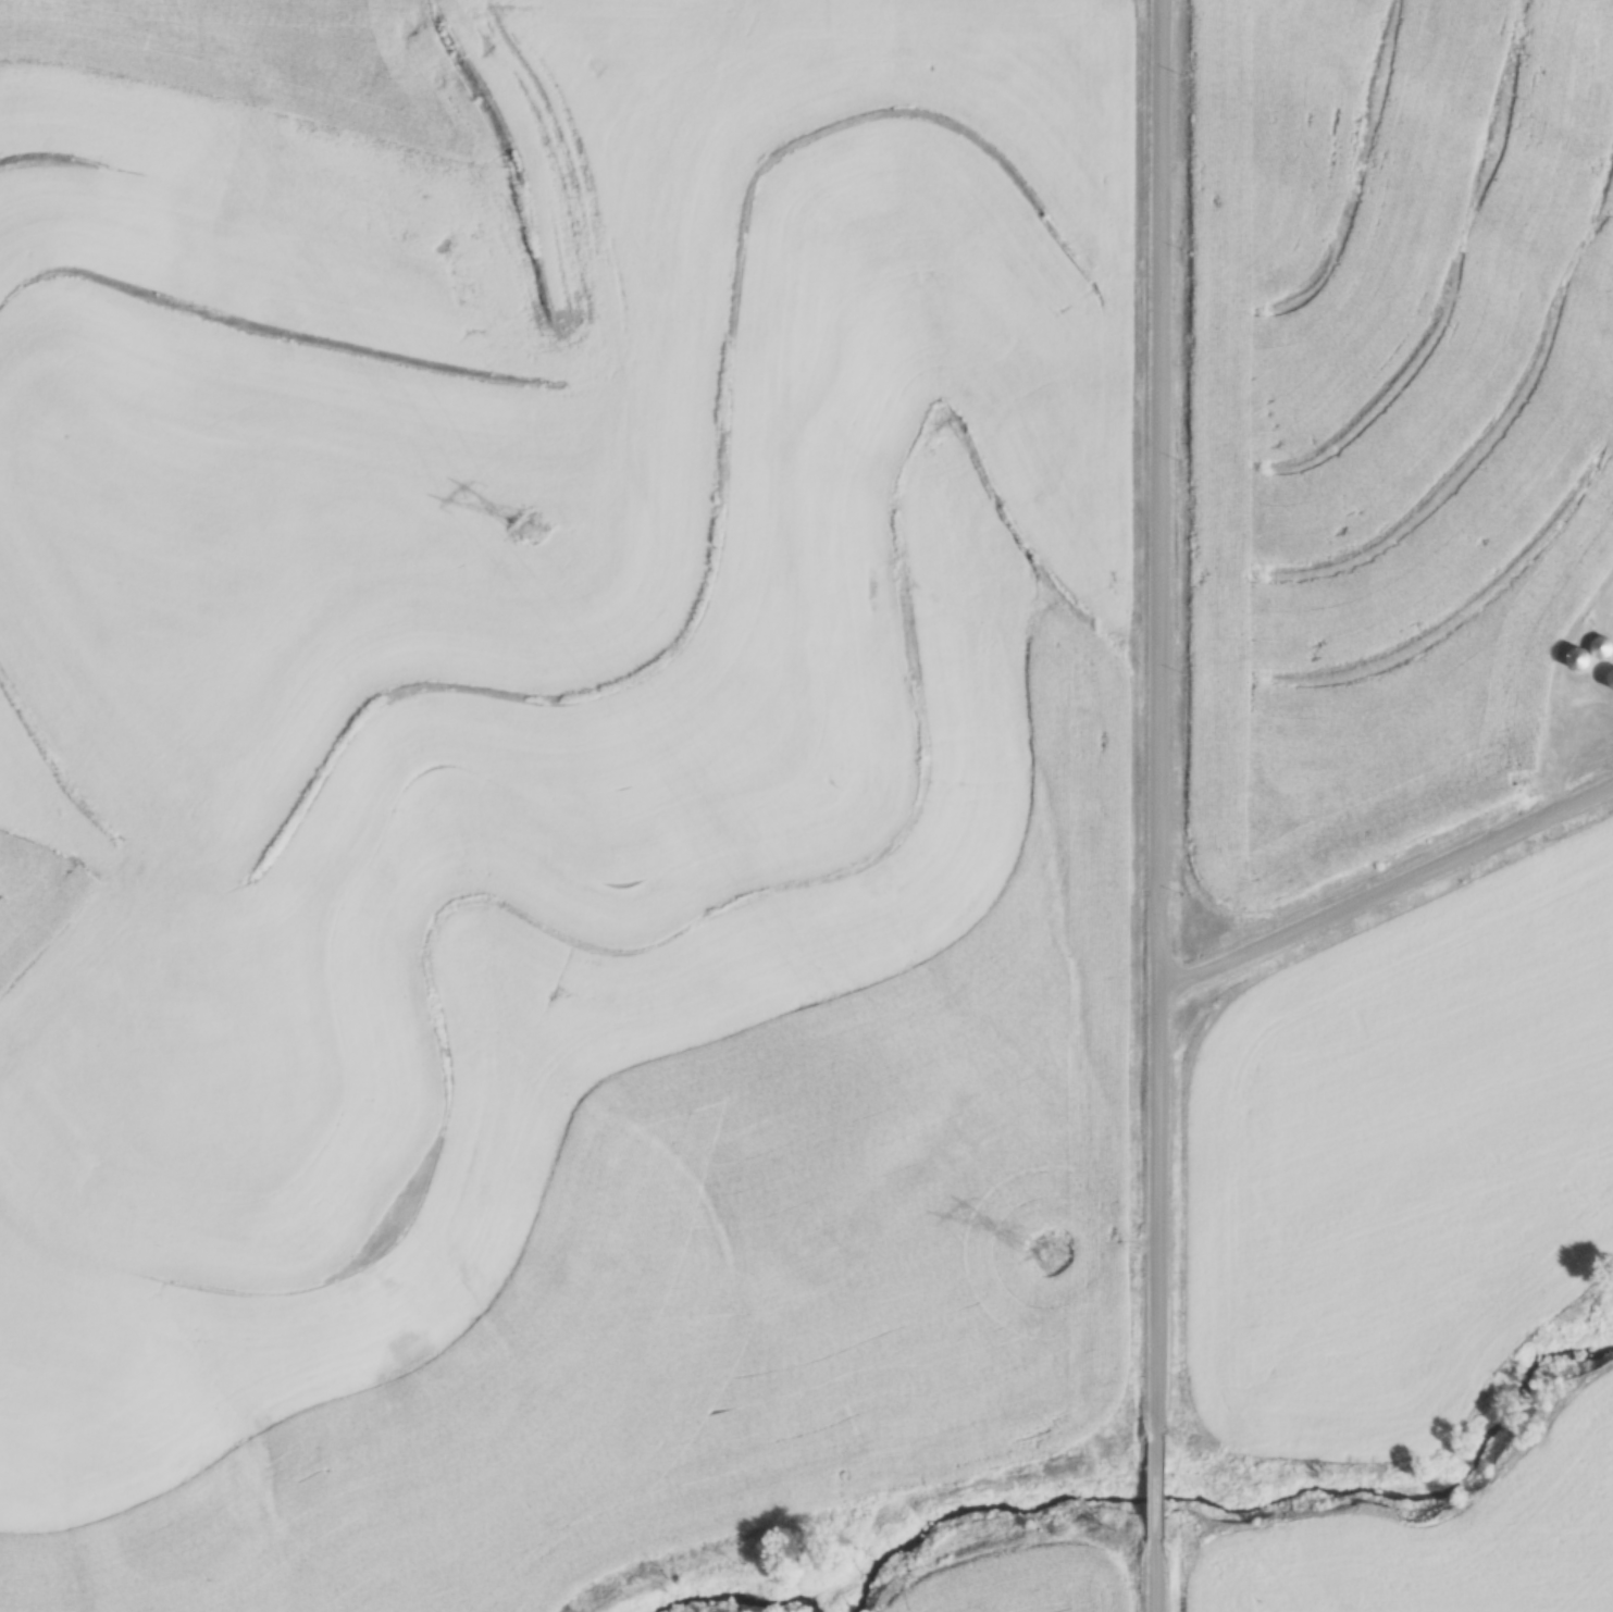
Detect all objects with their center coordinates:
power tower: (541, 524)
building: (1599, 644)
building: (1577, 655)
building: (1610, 677)
road: (1154, 717)
road: (1385, 889)
power tower: (1056, 1253)
road: (1152, 1486)
road: (1151, 1575)

